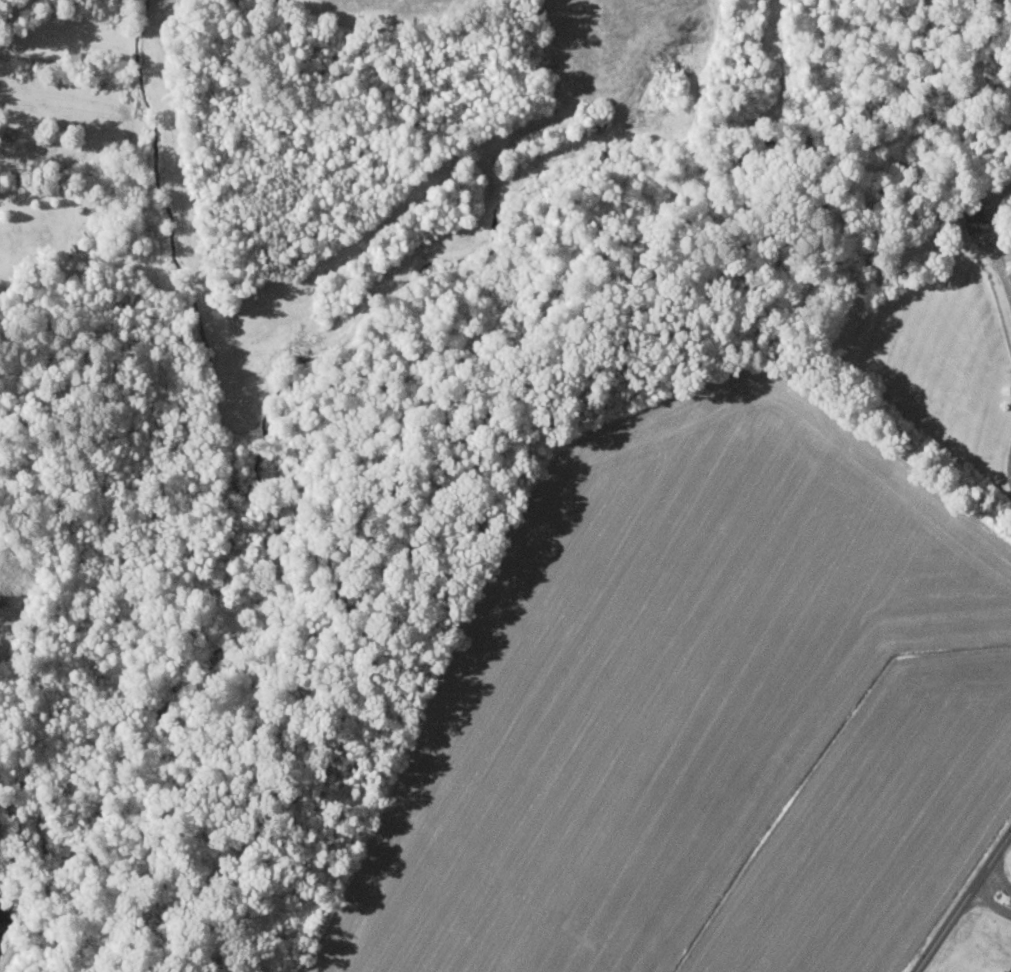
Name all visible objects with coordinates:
building: (972, 222)
road: (1010, 468)
road: (993, 893)
road: (964, 900)
building: (1005, 968)

